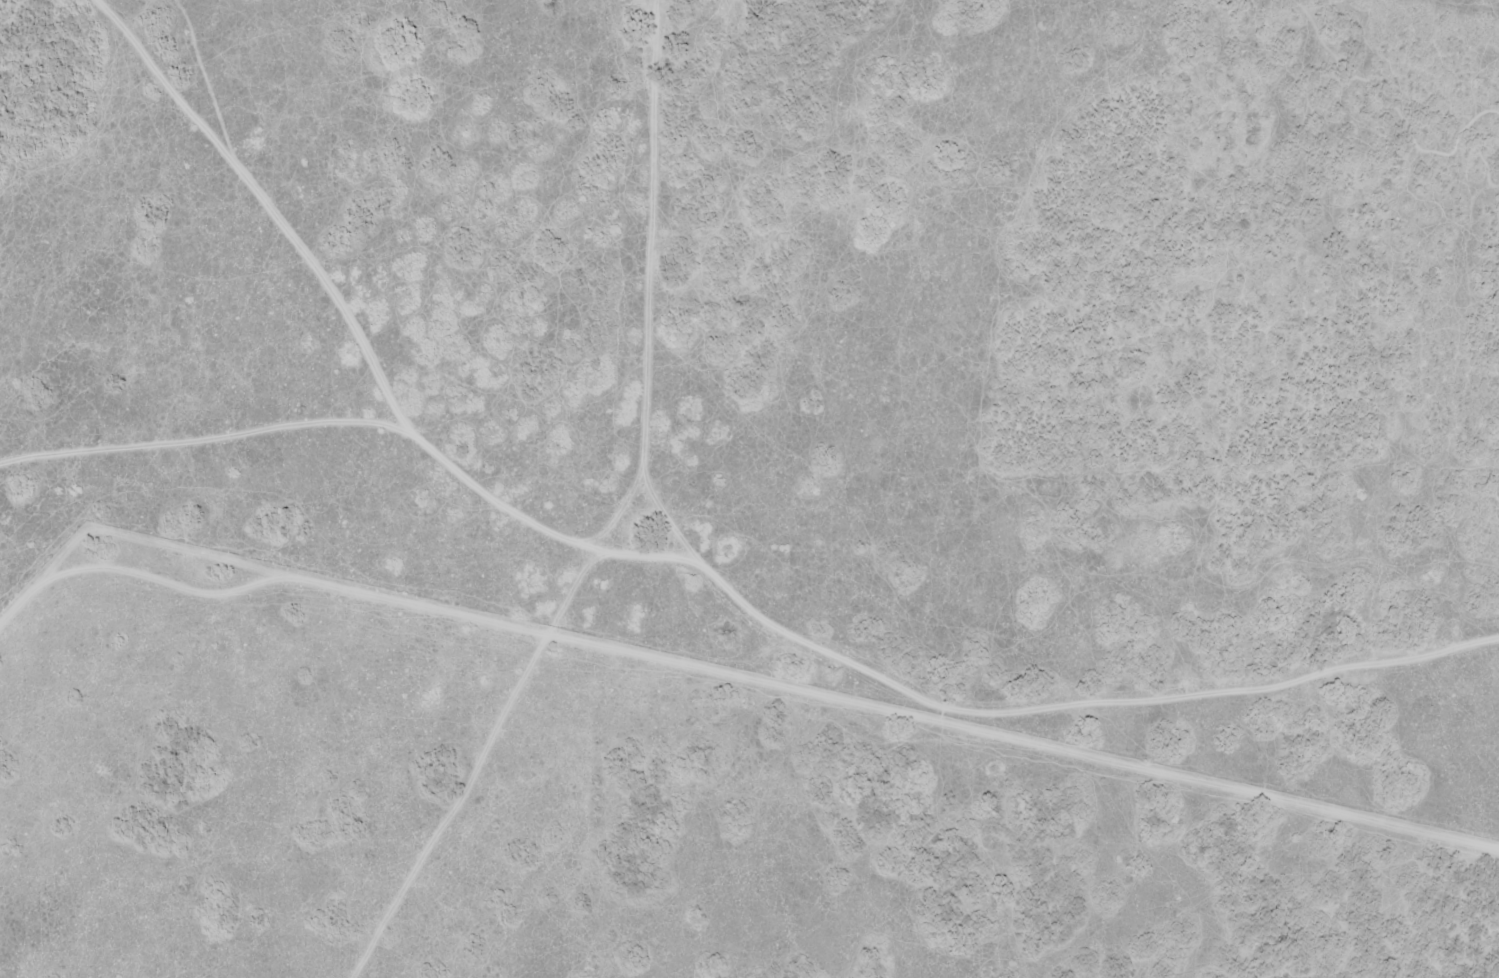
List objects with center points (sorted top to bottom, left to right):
road: (299, 253)
road: (598, 519)
road: (749, 624)
road: (985, 851)

